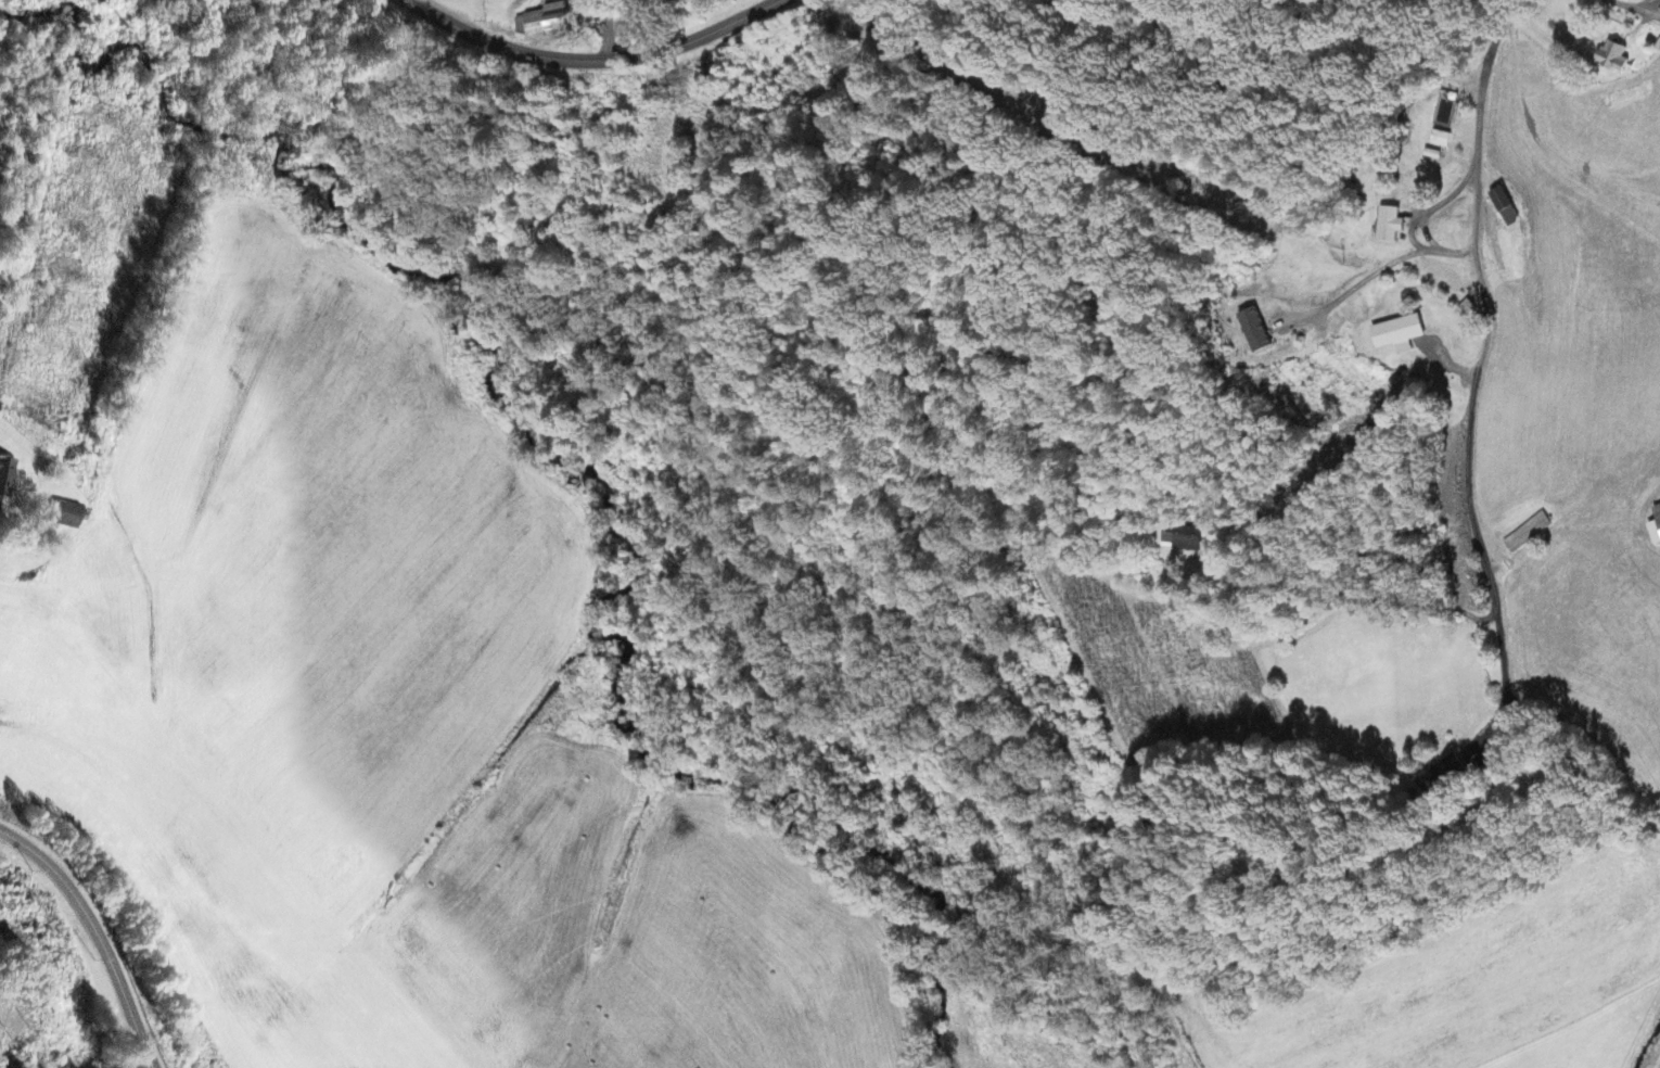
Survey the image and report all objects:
road: (1633, 10)
building: (545, 24)
building: (1616, 59)
road: (591, 63)
building: (1441, 140)
building: (1506, 208)
building: (1391, 227)
building: (1256, 333)
building: (1400, 335)
road: (1481, 358)
building: (7, 480)
building: (67, 517)
building: (1656, 529)
building: (1183, 539)
building: (1442, 776)
park: (1284, 877)
road: (97, 933)

